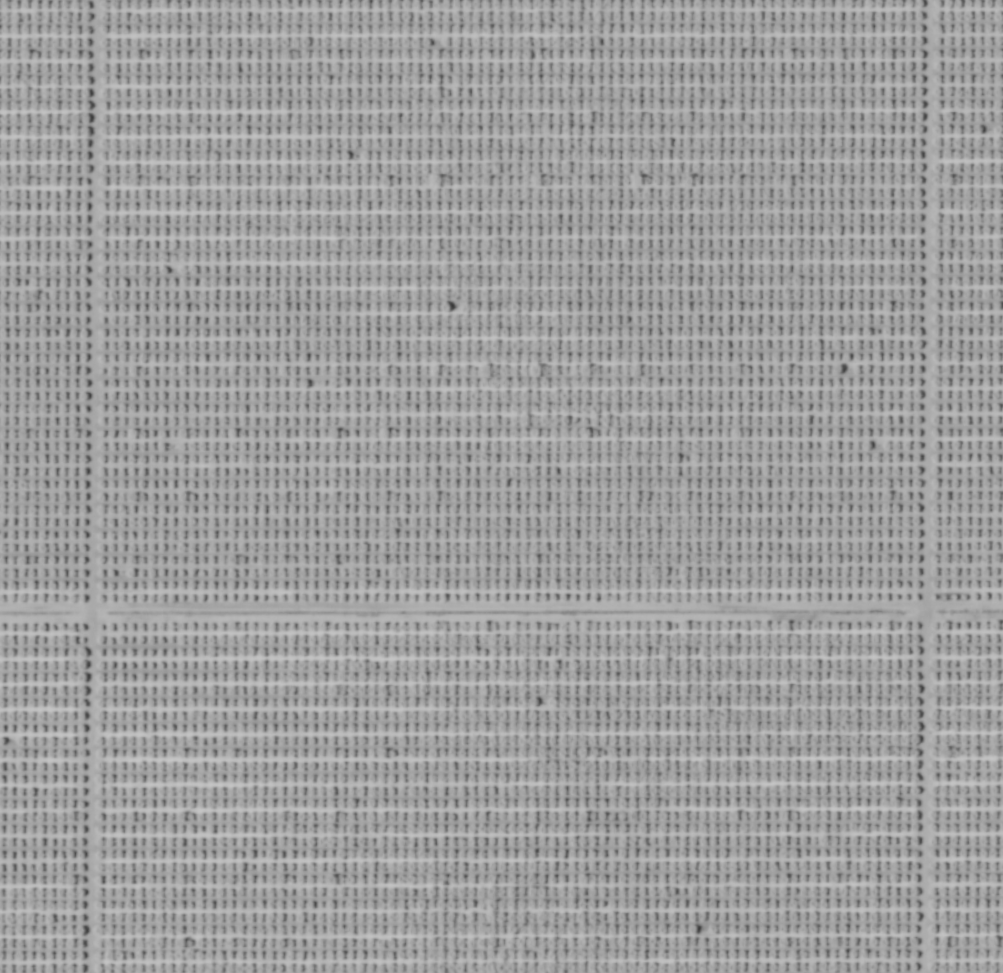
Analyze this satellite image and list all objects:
road: (84, 486)
road: (916, 486)
road: (501, 611)

